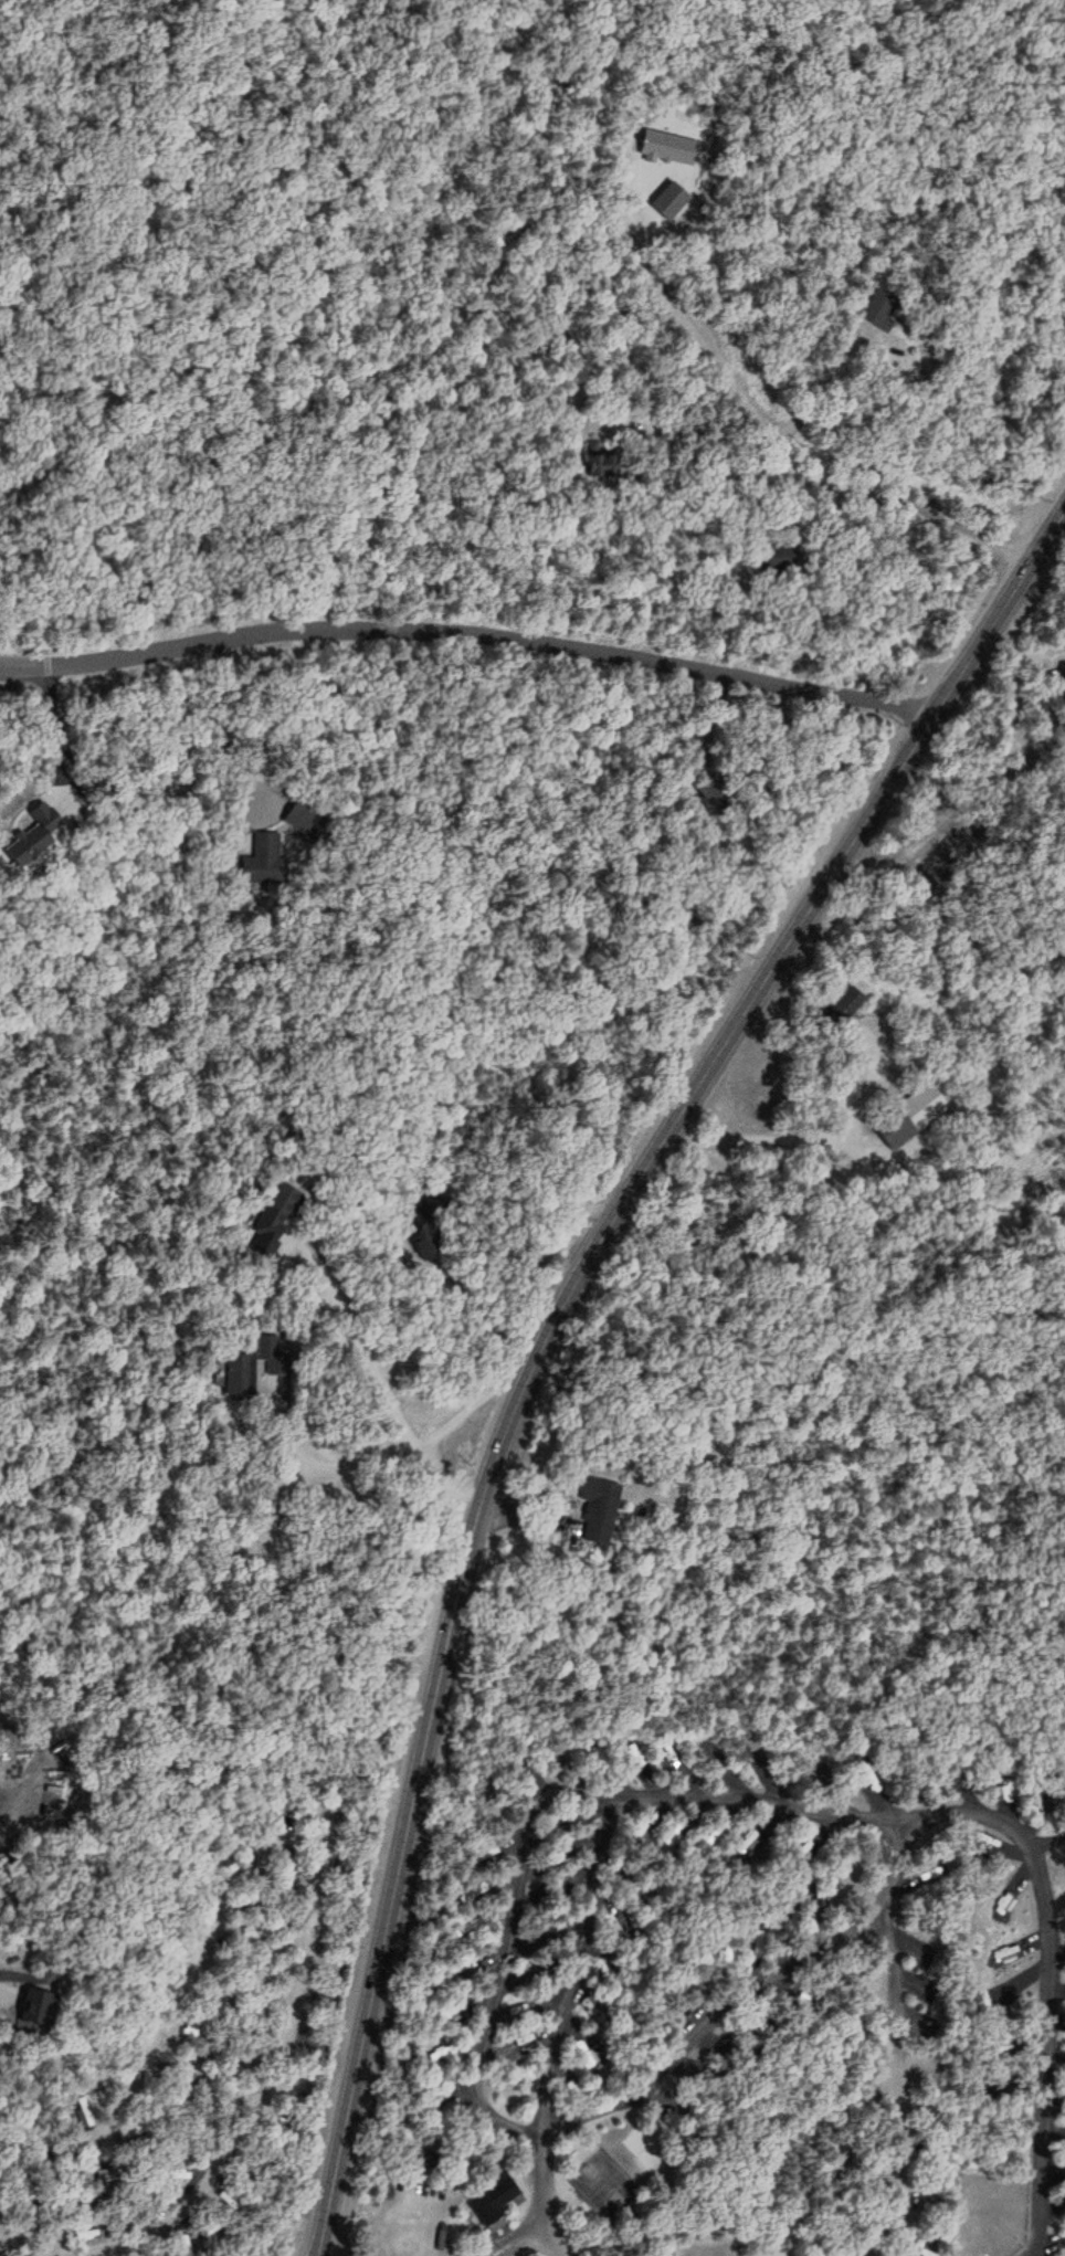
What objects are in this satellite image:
road: (226, 41)
road: (1009, 187)
road: (692, 363)
road: (467, 620)
road: (326, 662)
building: (1063, 674)
building: (300, 816)
road: (515, 1231)
road: (498, 1252)
road: (538, 1252)
road: (553, 1263)
road: (538, 1316)
building: (246, 1366)
building: (593, 1509)
building: (709, 1751)
building: (632, 1753)
building: (669, 1758)
building: (759, 1759)
road: (959, 1809)
road: (306, 1811)
road: (536, 1811)
building: (485, 1855)
building: (550, 1889)
building: (470, 1895)
building: (468, 1923)
building: (546, 1935)
building: (916, 1957)
road: (577, 1960)
building: (457, 1970)
building: (527, 1974)
building: (33, 2003)
building: (523, 2010)
building: (591, 2010)
building: (449, 2011)
building: (516, 2047)
road: (672, 2051)
building: (439, 2052)
building: (587, 2056)
building: (181, 2174)
park: (608, 2188)
building: (491, 2203)
road: (531, 2246)

